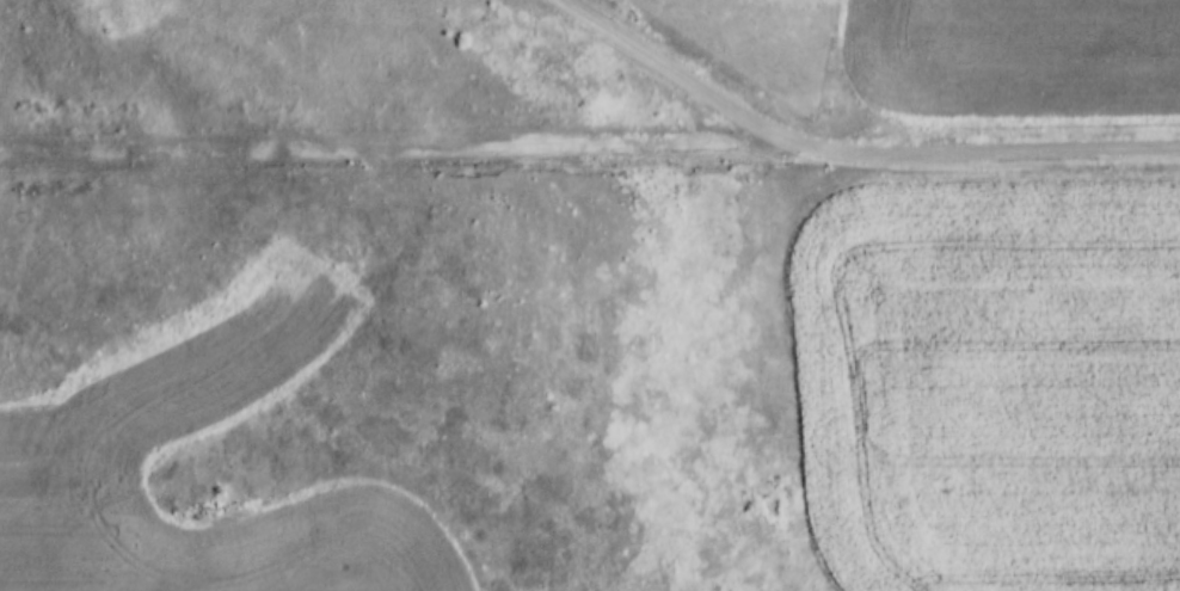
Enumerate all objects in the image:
road: (849, 152)
road: (412, 161)

